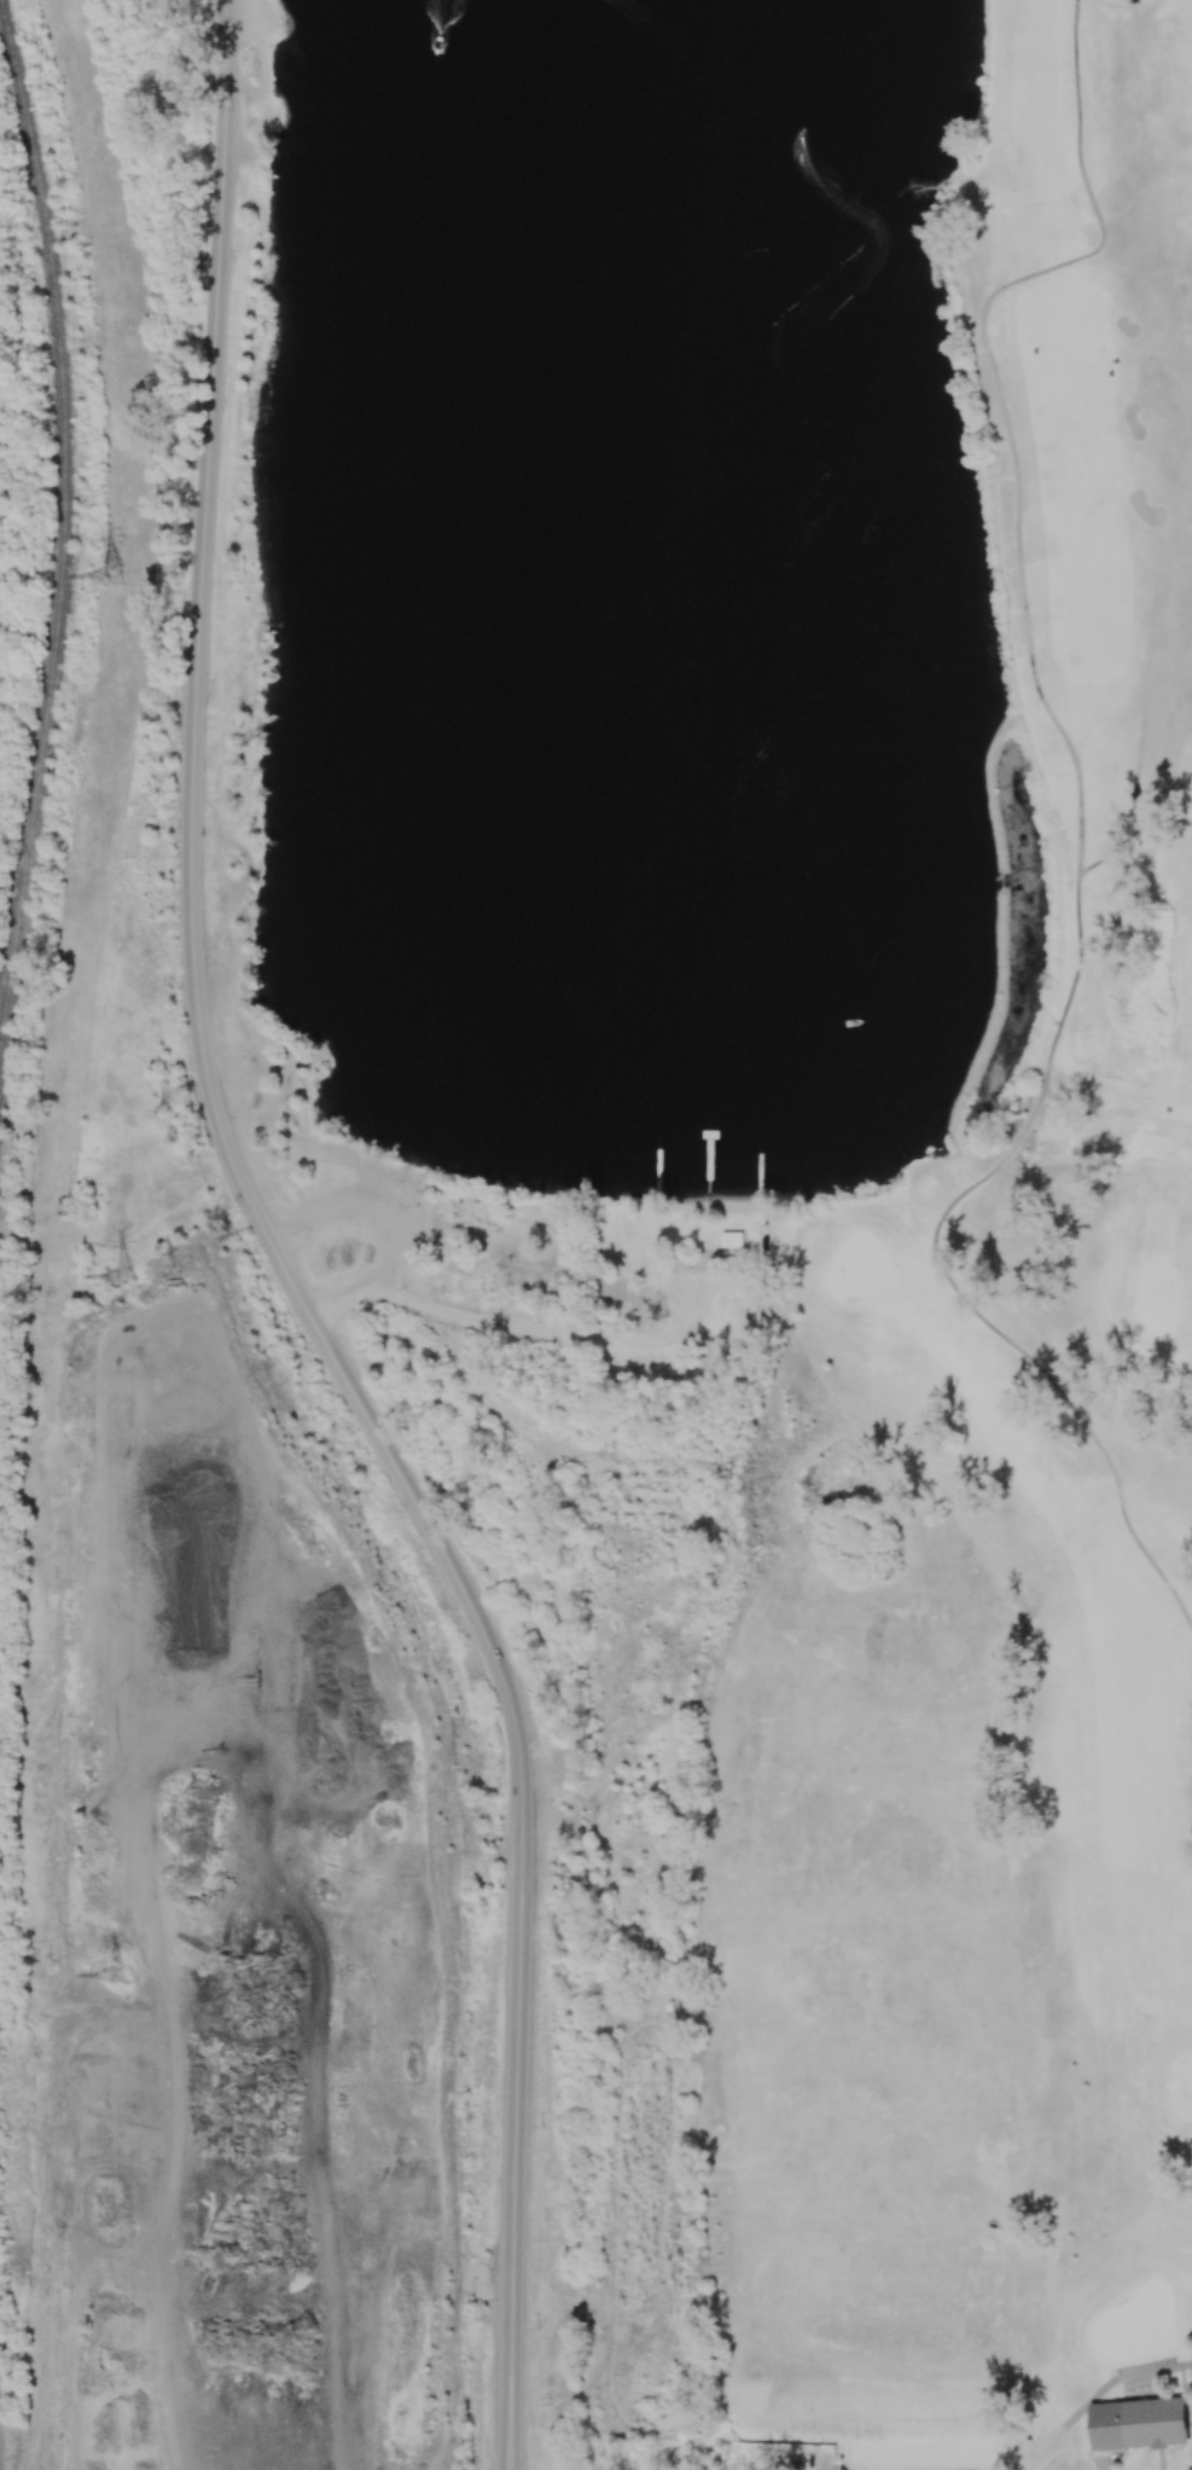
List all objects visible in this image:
railway: (65, 528)
power tower: (112, 574)
road: (1132, 802)
road: (1078, 833)
park: (349, 1227)
building: (731, 1240)
road: (278, 1256)
power tower: (123, 1276)
park: (985, 1465)
power tower: (117, 1972)
road: (1120, 2377)
building: (1138, 2423)

